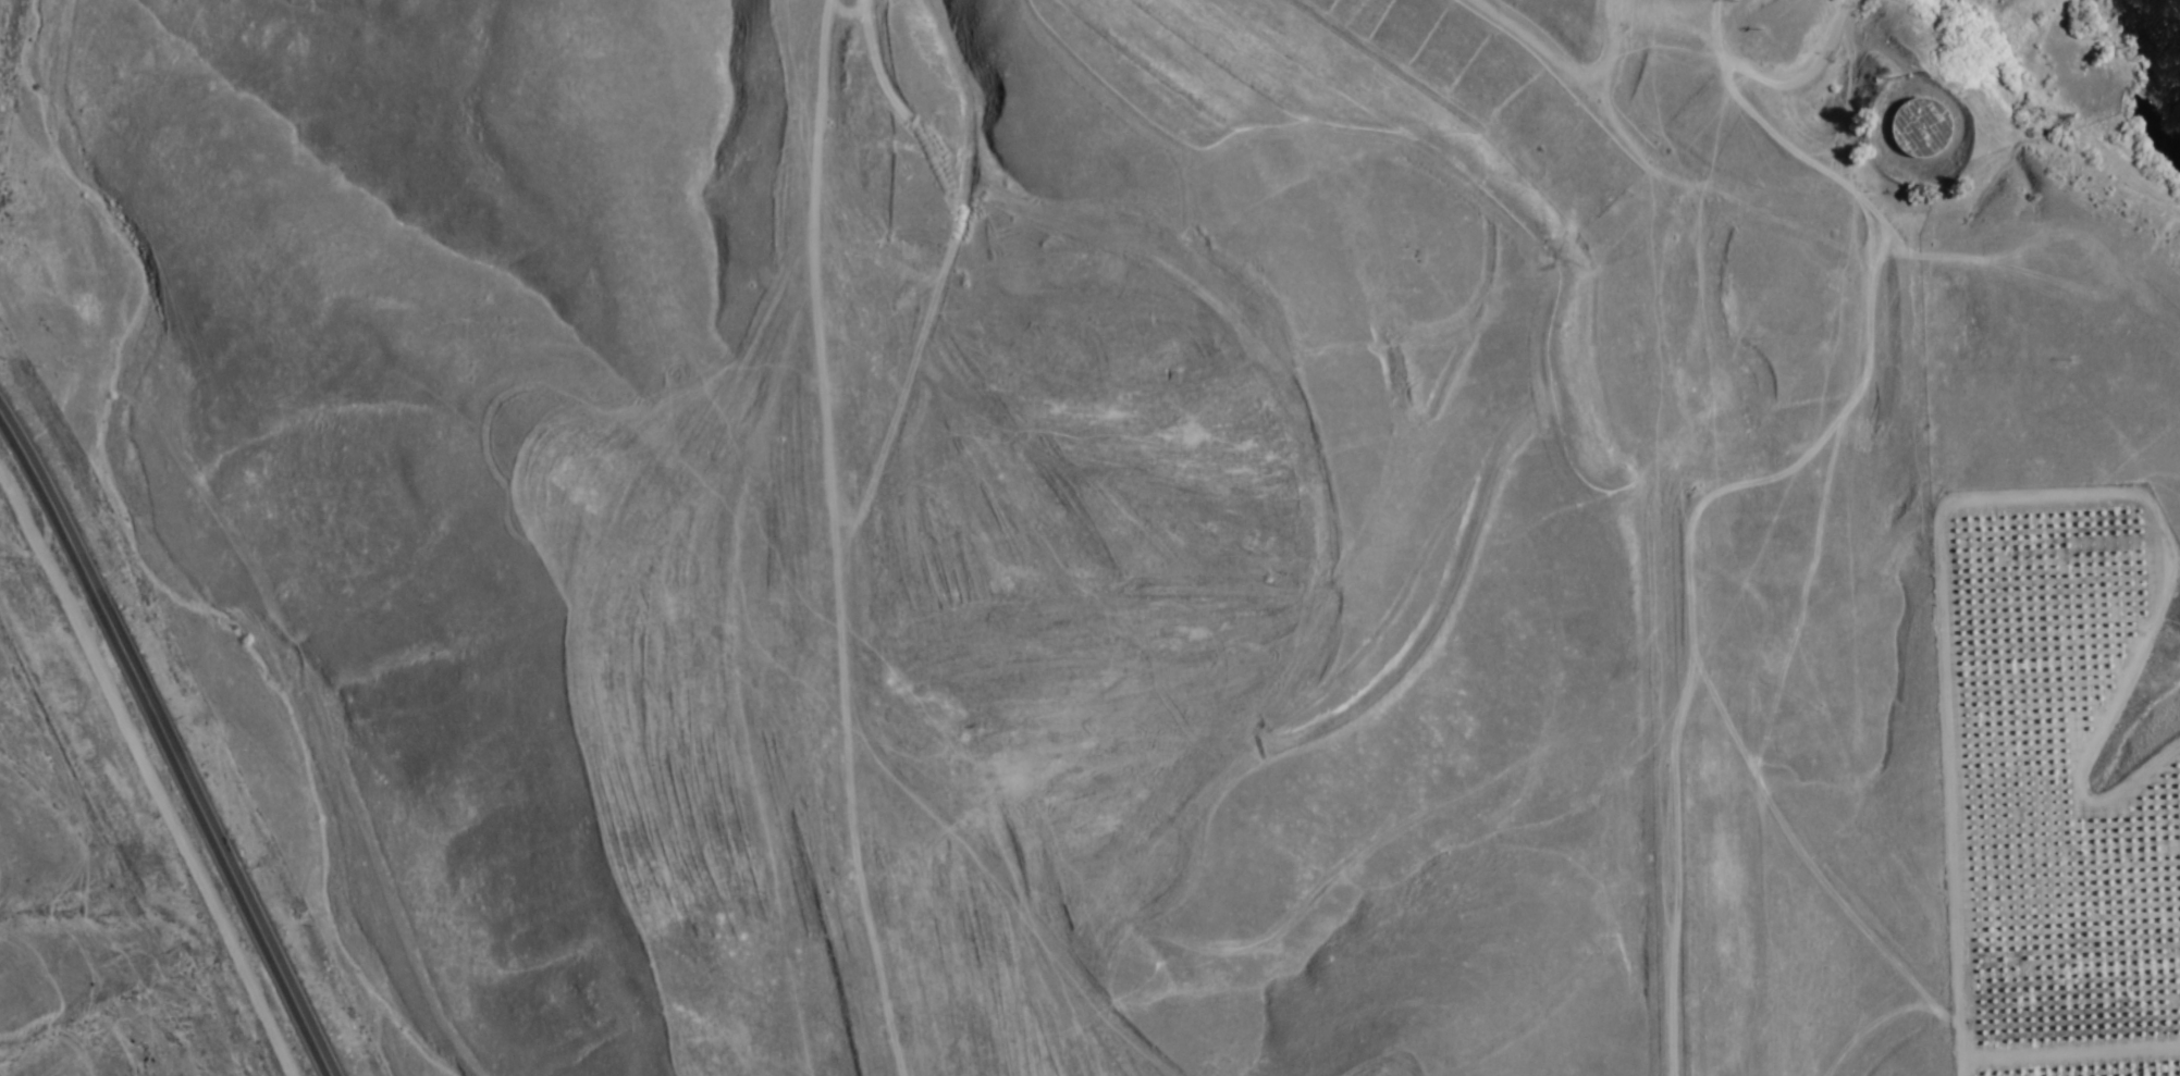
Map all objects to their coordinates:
river: (2170, 14)
building: (1919, 127)
park: (1999, 338)
road: (164, 751)

